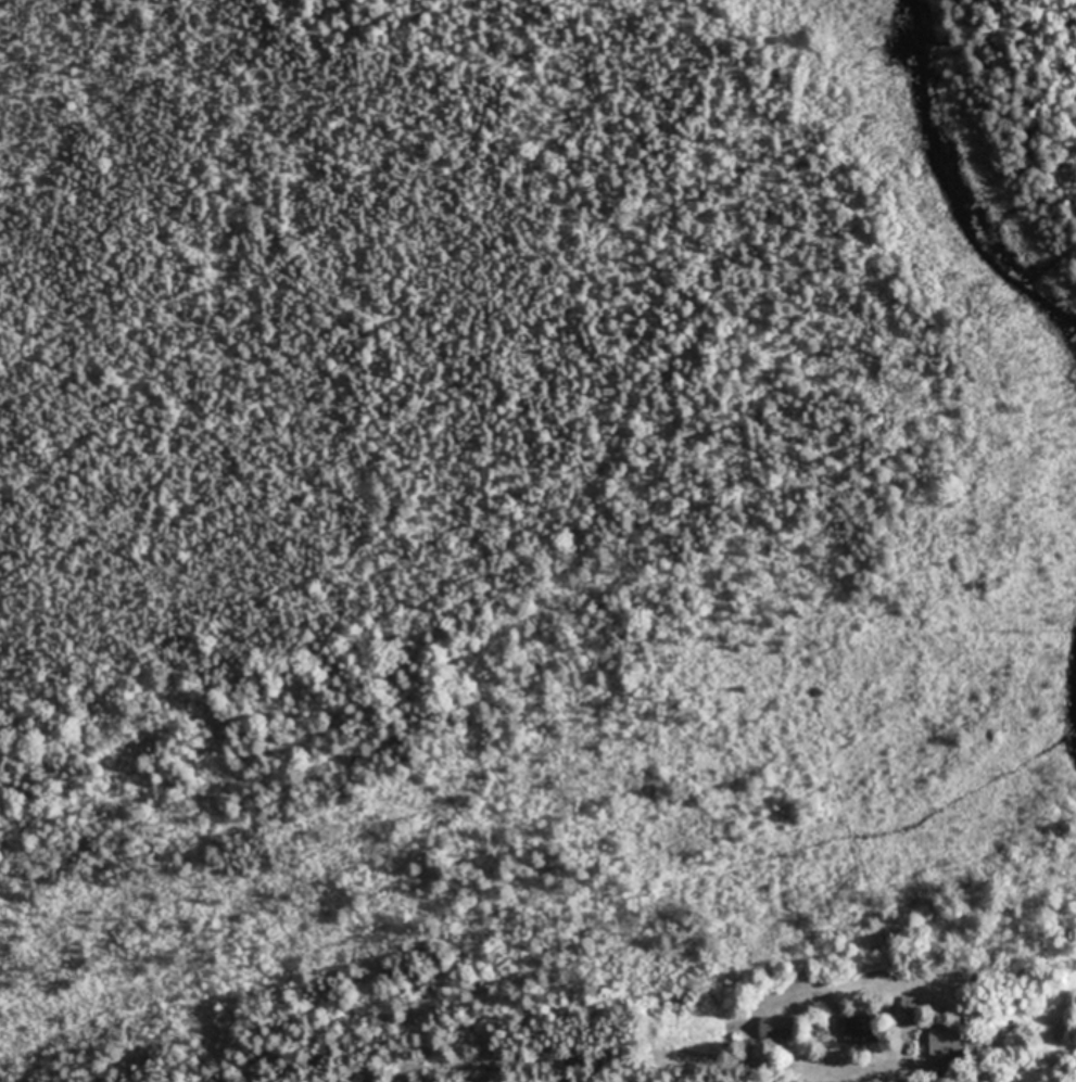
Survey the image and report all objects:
river: (949, 194)
building: (775, 1027)
building: (862, 1028)
building: (945, 1035)
road: (901, 1074)

